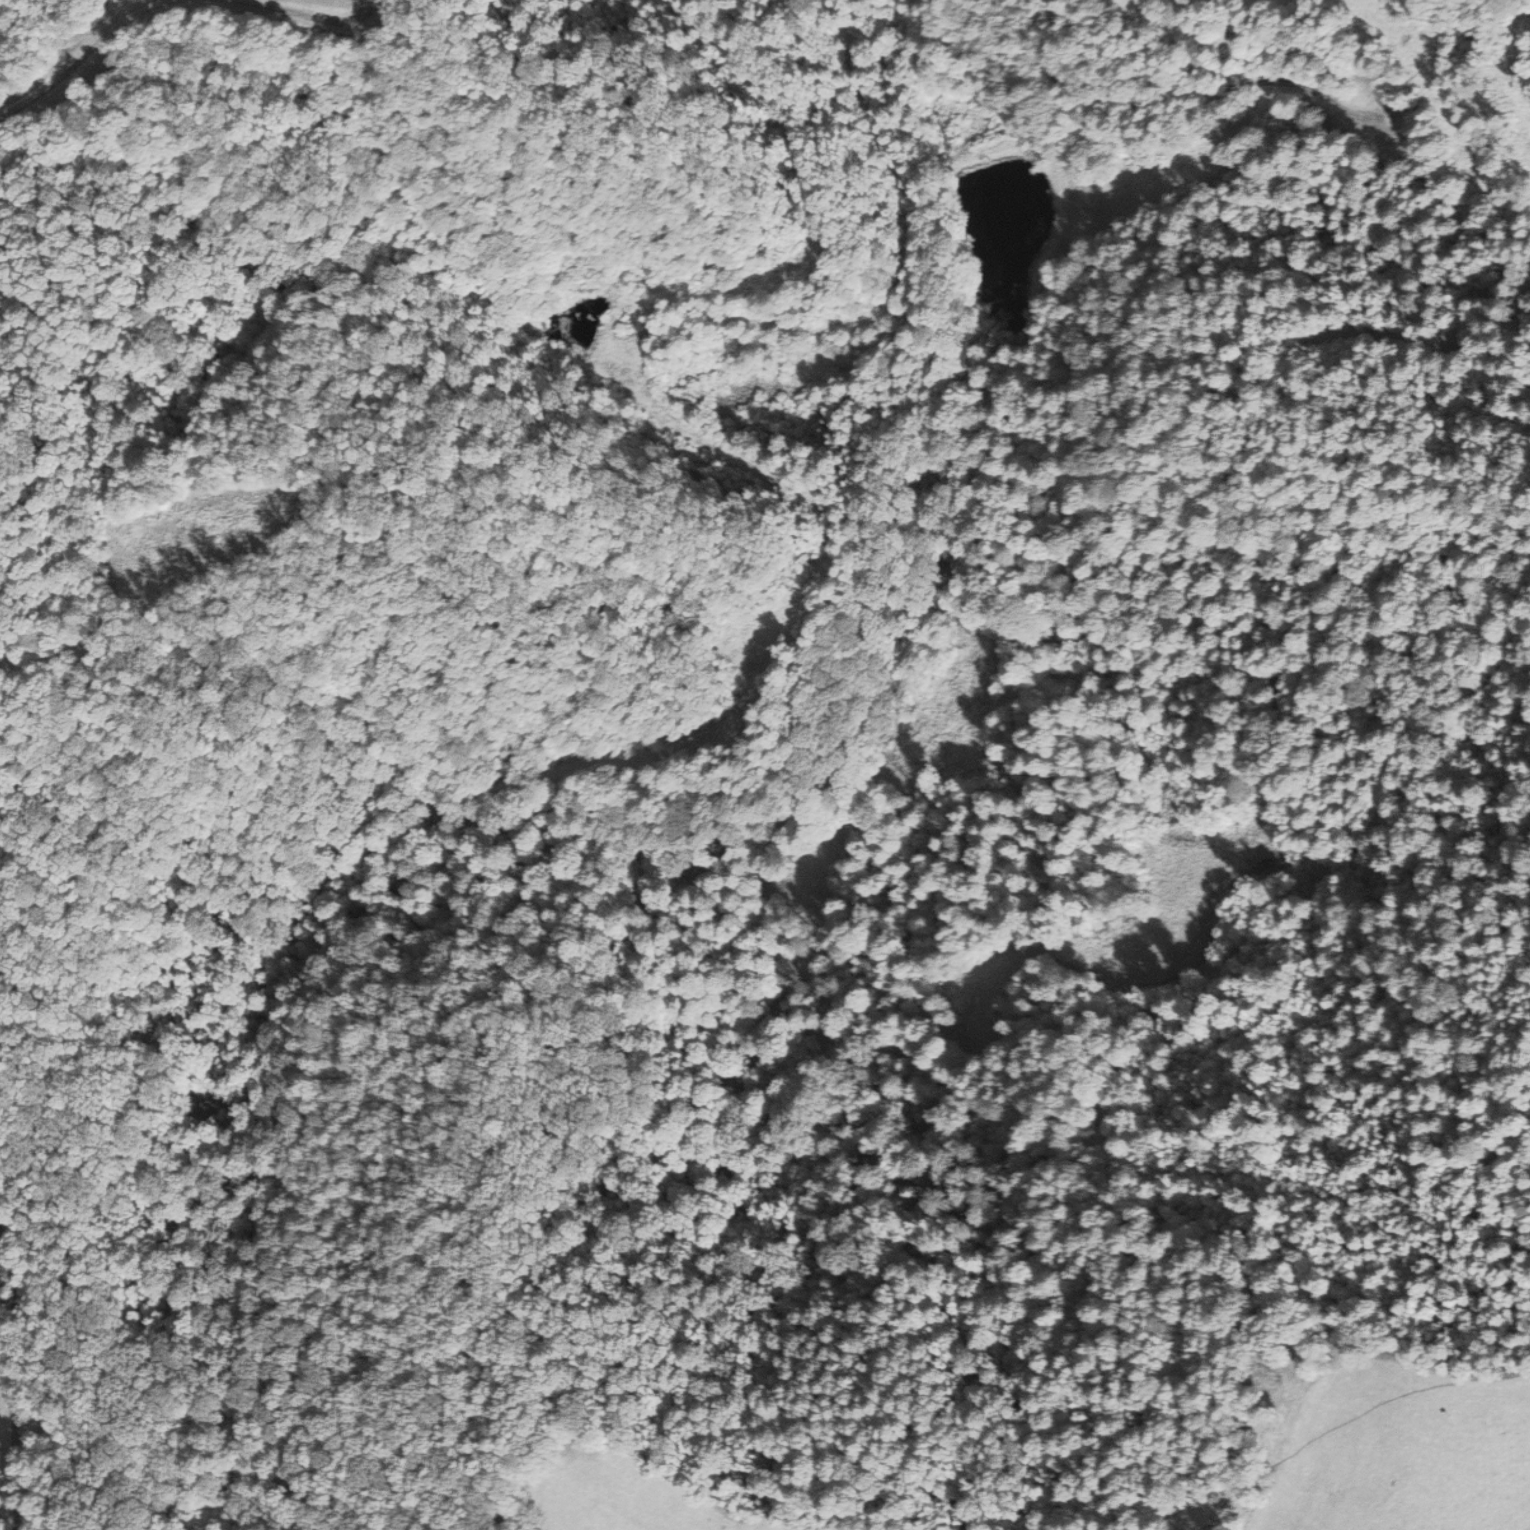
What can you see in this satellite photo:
road: (11, 1456)

